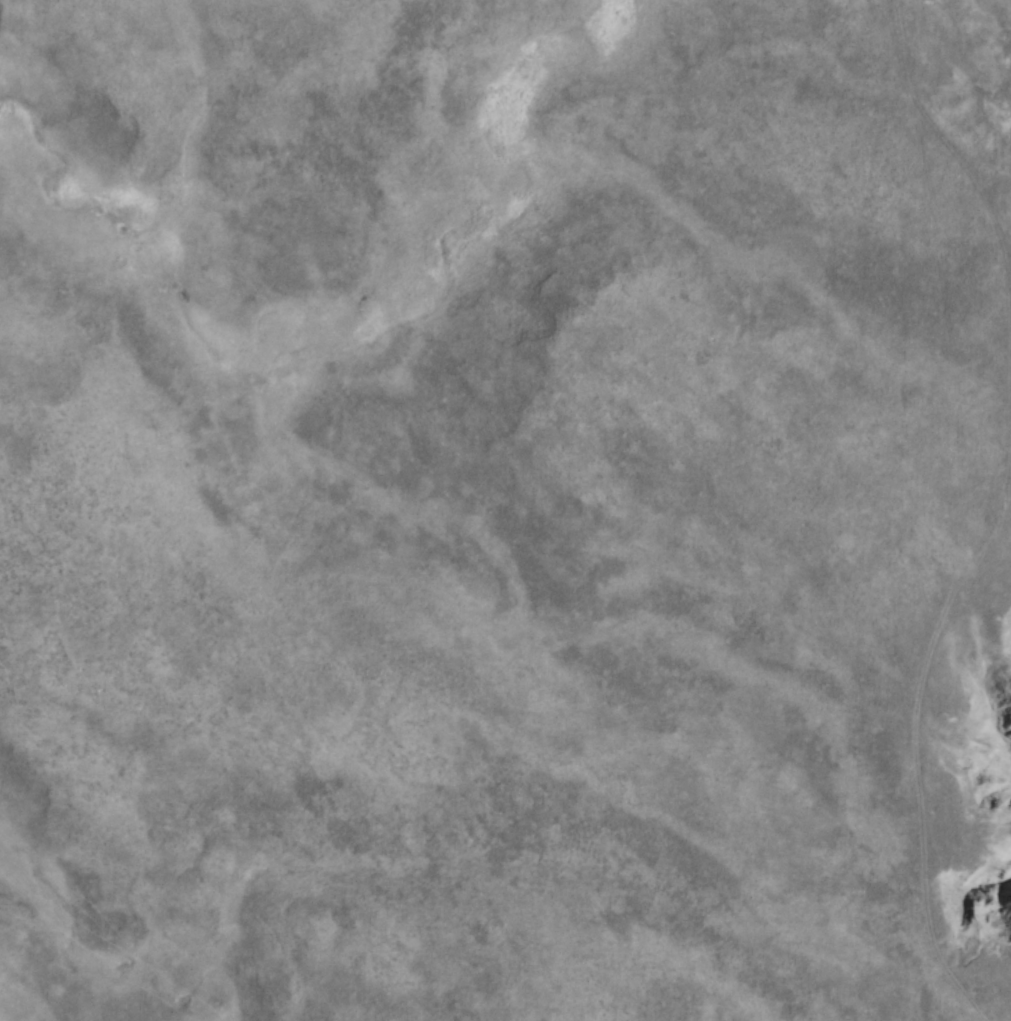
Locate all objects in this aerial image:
road: (991, 509)

